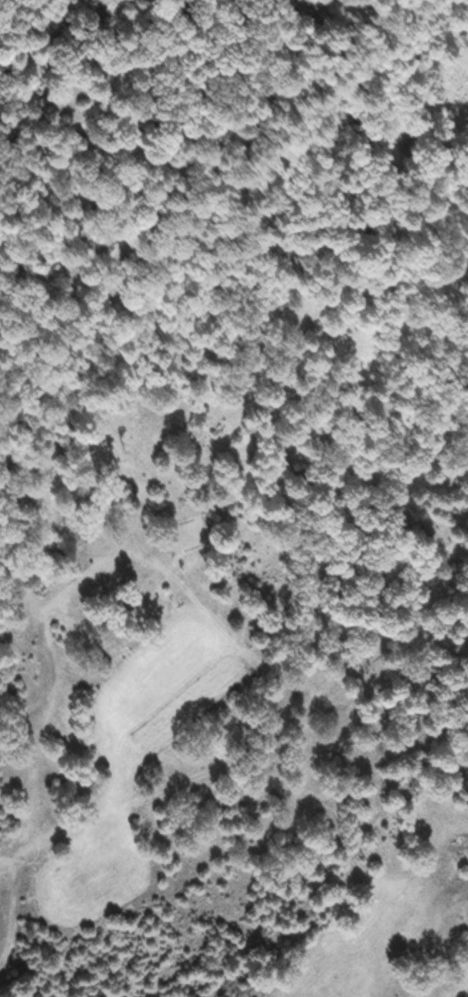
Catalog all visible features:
road: (44, 110)
road: (44, 717)

